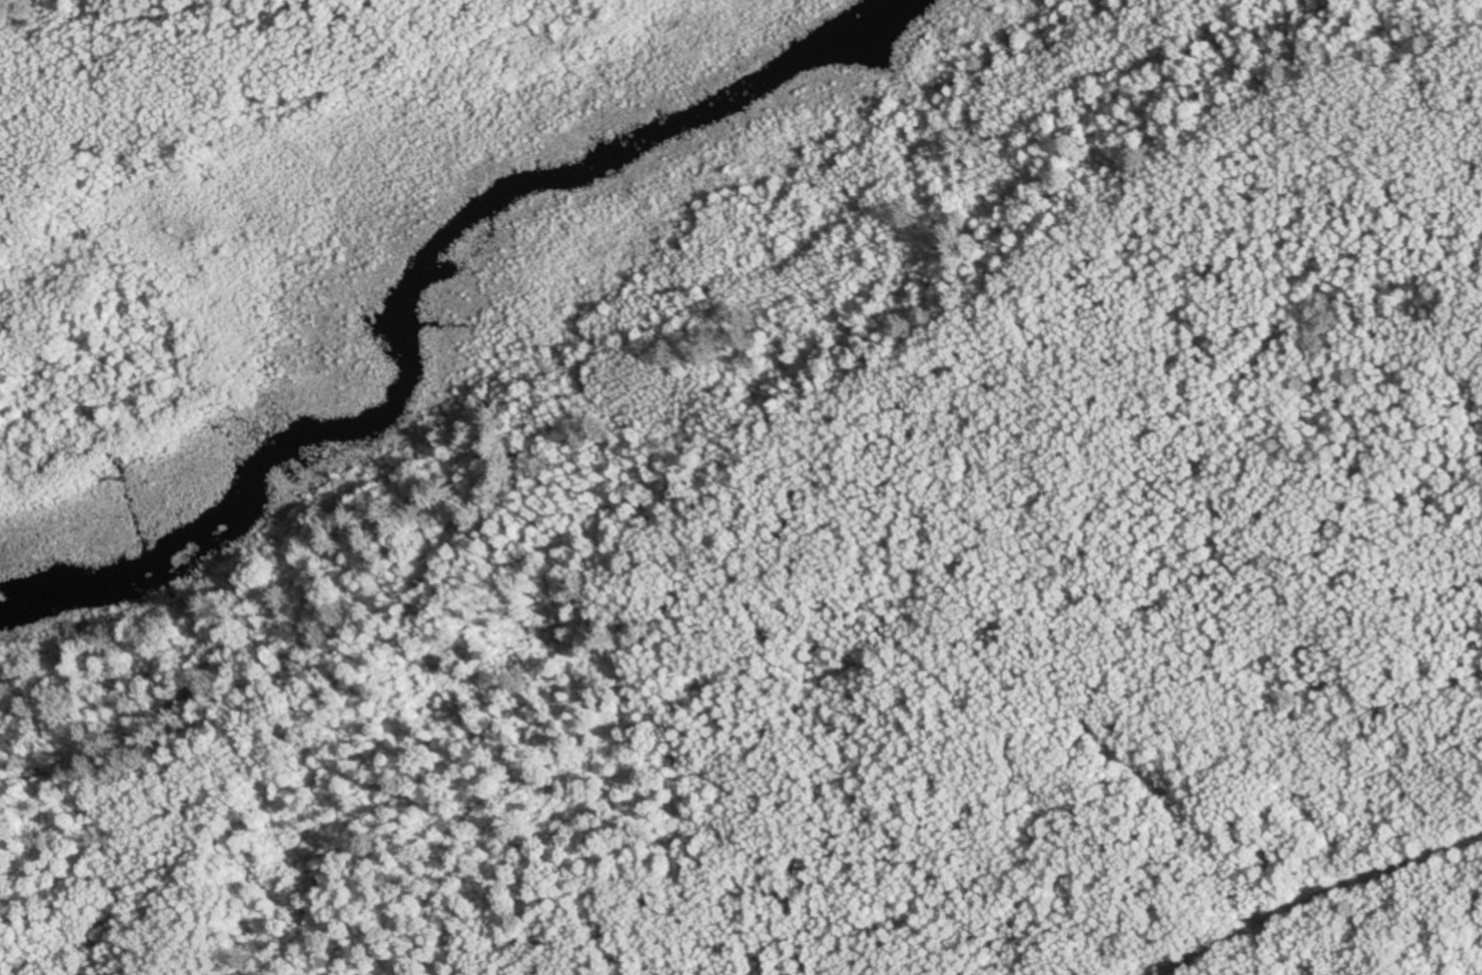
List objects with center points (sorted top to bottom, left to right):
road: (1277, 909)

